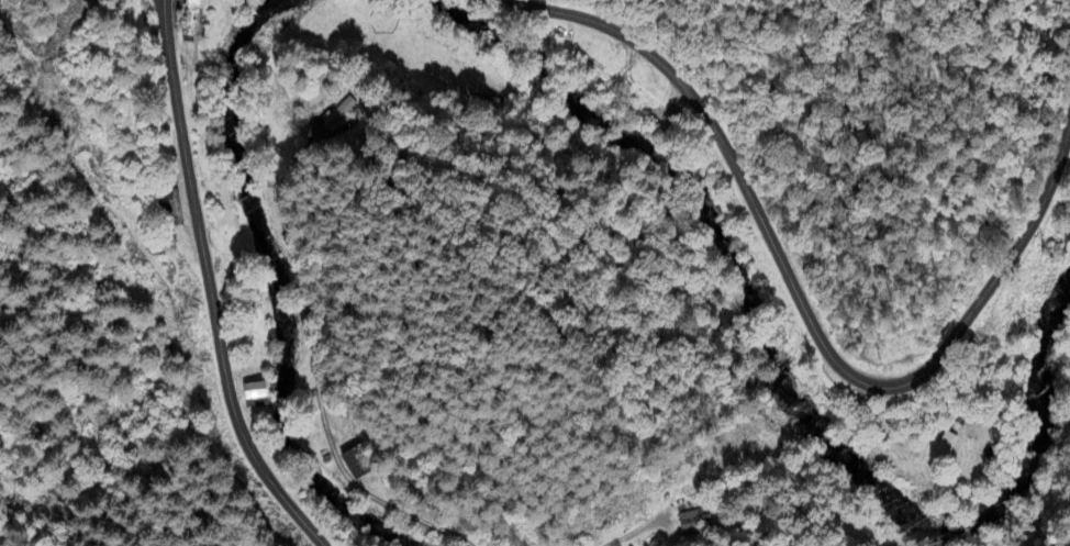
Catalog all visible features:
building: (191, 22)
building: (341, 112)
building: (171, 210)
road: (203, 289)
road: (804, 312)
building: (256, 395)
building: (947, 445)
building: (359, 464)
building: (693, 521)

